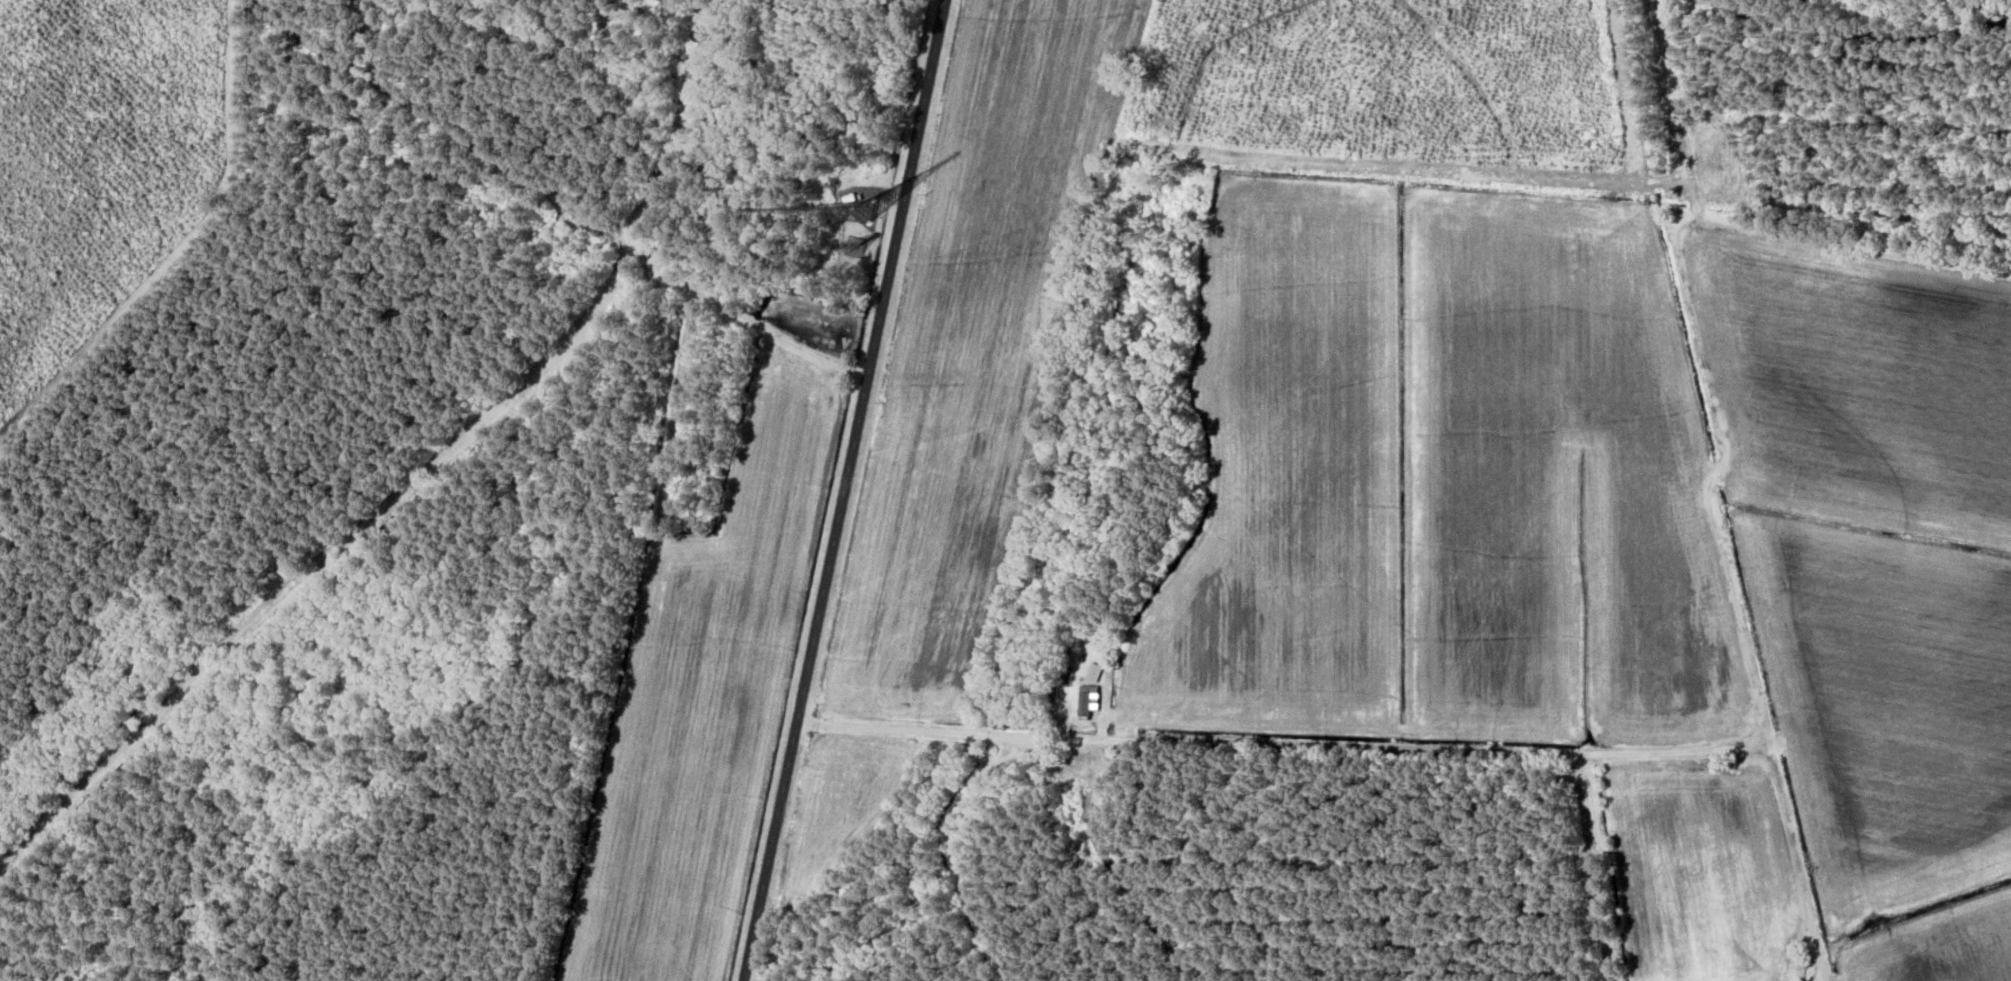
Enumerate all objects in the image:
road: (1214, 42)
road: (1467, 74)
road: (1666, 89)
road: (1630, 138)
road: (1375, 153)
road: (1699, 334)
road: (1061, 367)
road: (846, 490)
building: (1093, 675)
building: (1087, 704)
road: (1399, 747)
road: (1588, 867)

